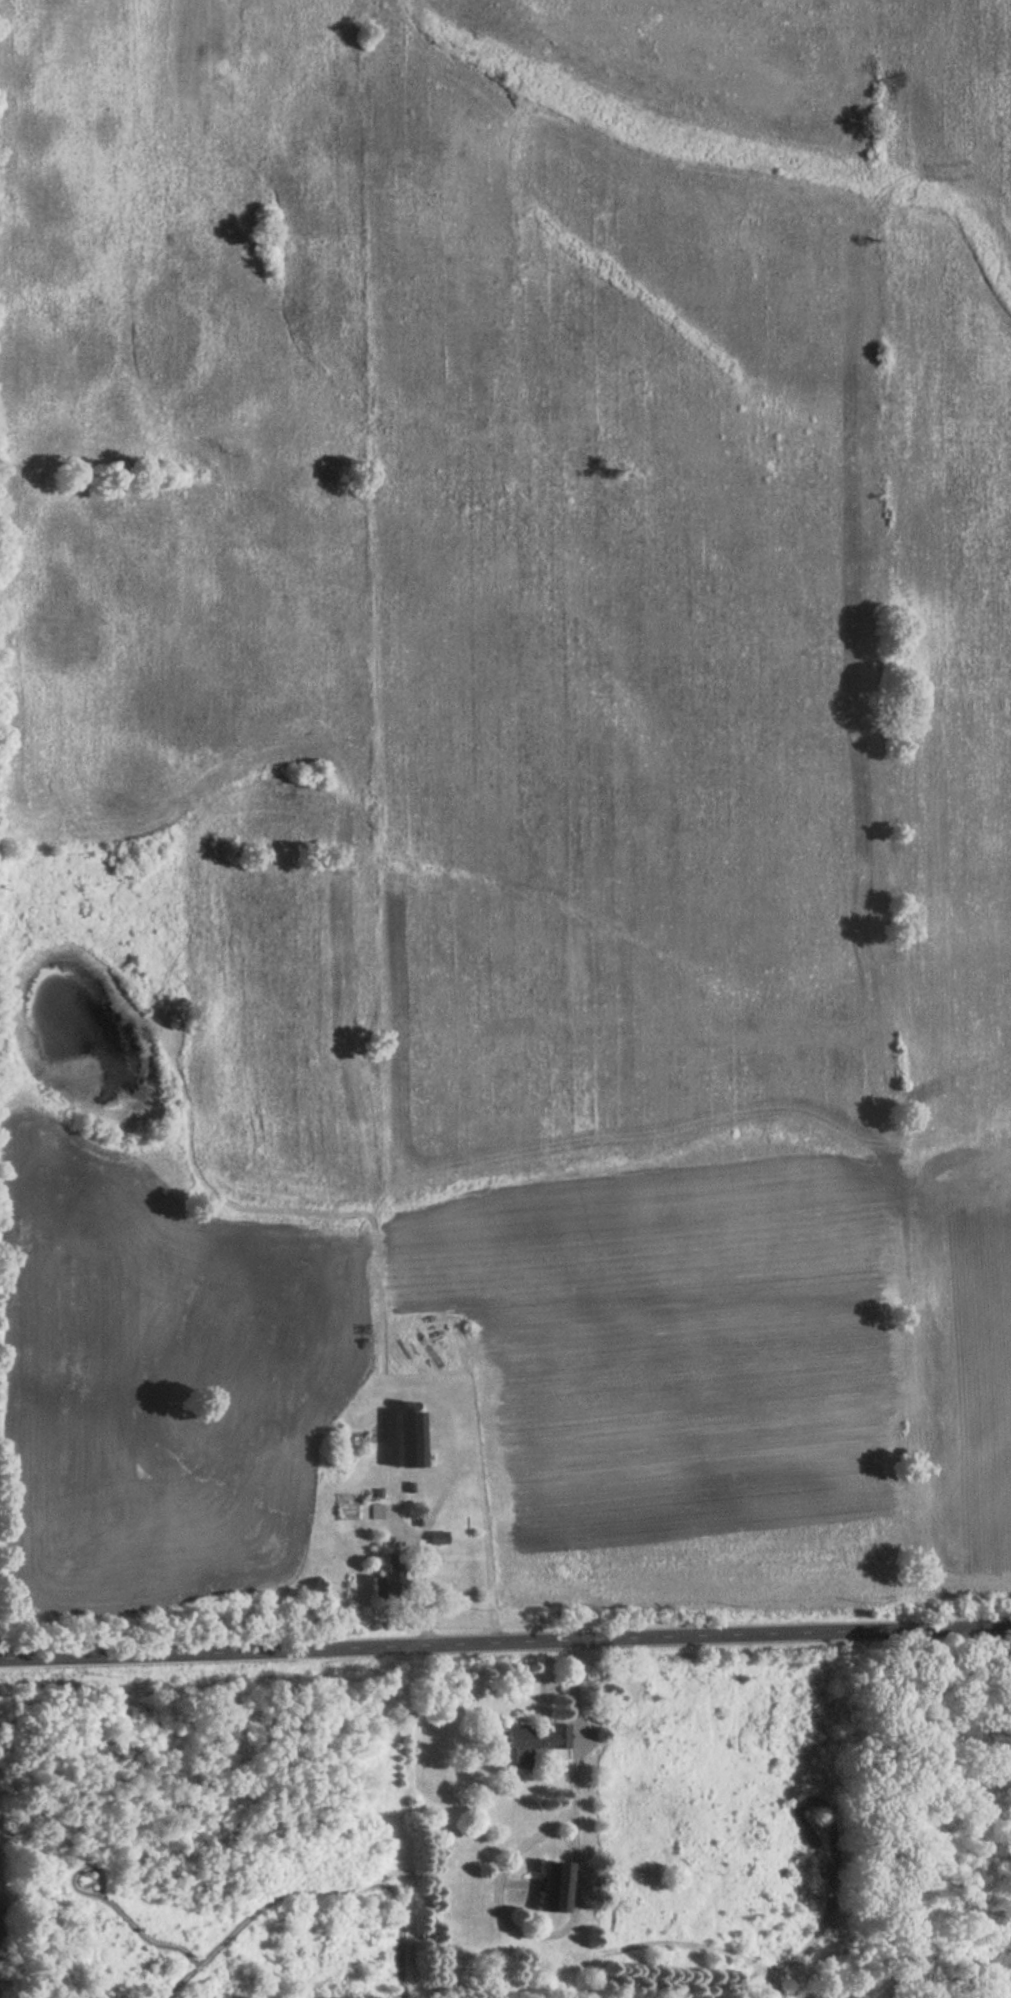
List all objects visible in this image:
crop: (951, 761)
crop: (447, 788)
building: (408, 1437)
building: (348, 1509)
building: (385, 1575)
road: (422, 1586)
road: (505, 1641)
building: (531, 1738)
building: (555, 1882)
road: (317, 1889)
road: (582, 1898)
road: (113, 1905)
road: (698, 1943)
road: (560, 1968)

